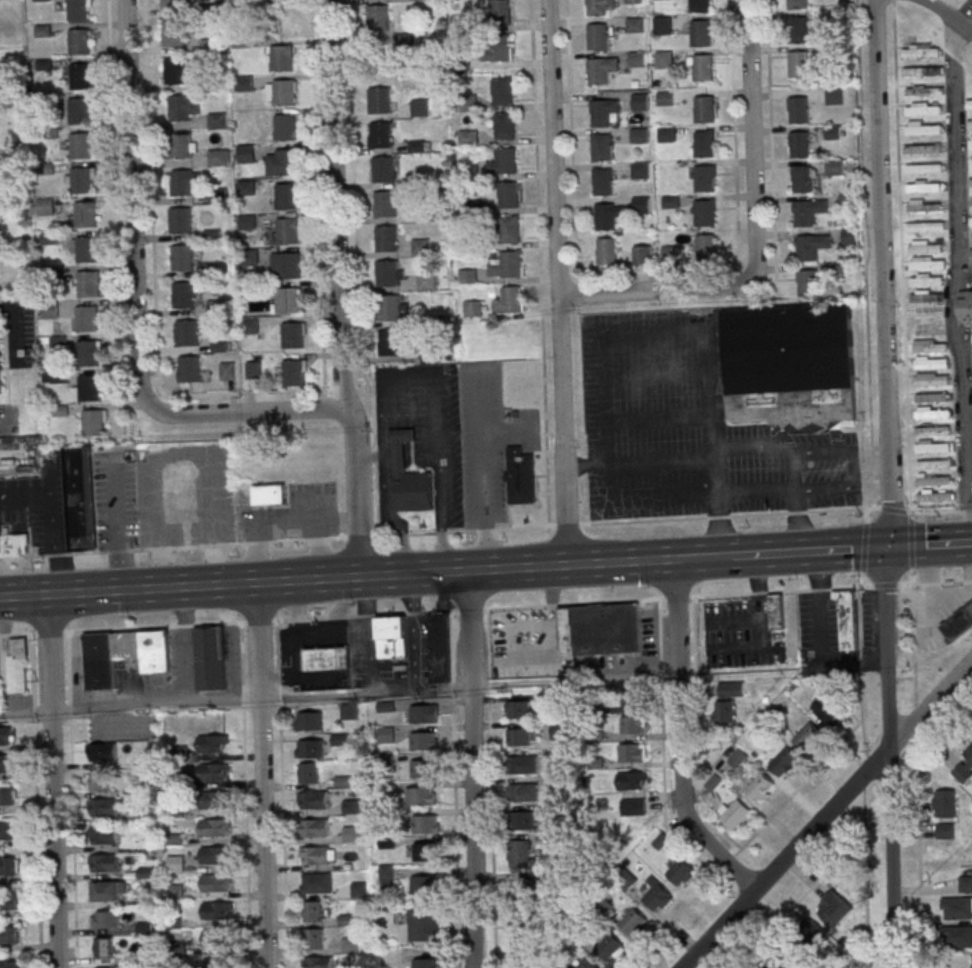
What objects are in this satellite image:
building: (277, 0)
building: (633, 1)
building: (171, 4)
building: (796, 4)
building: (699, 5)
building: (599, 6)
road: (937, 7)
building: (77, 9)
building: (497, 12)
building: (377, 17)
building: (458, 22)
road: (961, 23)
building: (634, 24)
building: (661, 25)
building: (796, 30)
building: (173, 33)
building: (700, 33)
building: (597, 36)
building: (405, 40)
building: (78, 41)
building: (207, 46)
building: (499, 48)
building: (920, 50)
building: (280, 58)
building: (635, 59)
building: (663, 59)
building: (797, 64)
building: (702, 67)
building: (599, 69)
building: (922, 69)
building: (174, 71)
building: (79, 76)
building: (243, 83)
building: (923, 90)
building: (500, 91)
building: (284, 92)
building: (834, 96)
building: (663, 98)
building: (379, 99)
building: (639, 101)
building: (969, 104)
building: (419, 107)
building: (178, 108)
building: (923, 108)
building: (704, 109)
building: (798, 110)
building: (78, 111)
building: (602, 111)
building: (969, 122)
building: (502, 126)
building: (284, 127)
building: (923, 128)
building: (832, 132)
road: (734, 133)
building: (380, 134)
building: (664, 134)
building: (637, 135)
road: (770, 139)
road: (750, 140)
building: (970, 142)
building: (702, 144)
building: (800, 144)
building: (79, 146)
building: (180, 146)
building: (600, 147)
building: (922, 149)
building: (245, 153)
road: (570, 156)
building: (218, 157)
building: (504, 160)
building: (285, 161)
building: (971, 161)
building: (834, 167)
building: (923, 168)
building: (382, 169)
building: (639, 170)
building: (704, 178)
building: (803, 179)
building: (970, 180)
building: (81, 181)
building: (602, 181)
building: (181, 182)
building: (923, 186)
building: (507, 194)
building: (286, 196)
building: (669, 201)
building: (847, 201)
building: (970, 201)
road: (130, 204)
building: (385, 204)
building: (640, 205)
building: (923, 205)
building: (44, 206)
building: (808, 211)
building: (704, 212)
building: (84, 215)
road: (114, 216)
building: (604, 216)
building: (971, 219)
building: (179, 220)
building: (247, 222)
building: (925, 226)
building: (508, 229)
building: (287, 231)
building: (848, 236)
building: (385, 238)
building: (971, 238)
building: (811, 246)
building: (925, 246)
building: (420, 247)
building: (705, 248)
building: (86, 249)
building: (607, 251)
building: (668, 254)
road: (864, 254)
building: (642, 255)
building: (182, 257)
building: (249, 257)
building: (971, 259)
road: (538, 262)
building: (926, 263)
building: (286, 264)
building: (509, 264)
building: (386, 273)
building: (467, 276)
road: (960, 278)
building: (926, 280)
building: (426, 281)
road: (555, 282)
building: (807, 282)
building: (87, 284)
road: (336, 289)
road: (653, 290)
building: (183, 294)
building: (926, 296)
building: (510, 299)
building: (288, 300)
road: (153, 302)
building: (215, 307)
building: (389, 307)
building: (965, 307)
building: (472, 308)
building: (86, 318)
building: (250, 326)
road: (15, 330)
road: (650, 332)
building: (187, 333)
building: (292, 335)
building: (388, 342)
building: (930, 345)
building: (87, 353)
building: (931, 362)
building: (789, 363)
building: (188, 369)
building: (253, 369)
building: (226, 370)
building: (294, 372)
road: (653, 375)
road: (403, 381)
building: (0, 382)
building: (931, 387)
building: (86, 388)
road: (245, 411)
building: (932, 413)
road: (656, 419)
building: (93, 422)
parking lot: (689, 427)
road: (2, 429)
road: (508, 430)
building: (932, 430)
building: (932, 446)
road: (749, 449)
road: (368, 457)
building: (932, 463)
road: (655, 464)
road: (485, 468)
road: (851, 471)
road: (794, 473)
building: (518, 475)
building: (409, 477)
building: (933, 479)
road: (890, 484)
road: (726, 493)
building: (269, 494)
building: (934, 495)
parking lot: (112, 496)
building: (78, 497)
road: (645, 500)
road: (892, 510)
road: (965, 511)
road: (931, 513)
road: (909, 514)
road: (864, 516)
road: (800, 521)
road: (117, 523)
road: (439, 532)
road: (910, 541)
building: (13, 544)
road: (929, 545)
road: (863, 548)
traffic signals: (886, 548)
road: (810, 552)
road: (714, 557)
road: (970, 563)
road: (346, 577)
road: (966, 581)
road: (950, 582)
road: (928, 583)
road: (904, 584)
road: (915, 584)
road: (884, 585)
road: (929, 596)
road: (949, 597)
road: (293, 608)
parking lot: (946, 608)
road: (336, 612)
building: (774, 612)
building: (846, 618)
road: (731, 620)
road: (284, 621)
building: (958, 622)
road: (520, 625)
road: (759, 627)
building: (599, 628)
road: (468, 629)
road: (413, 632)
road: (818, 634)
road: (15, 635)
road: (367, 635)
road: (913, 635)
road: (293, 637)
building: (390, 637)
road: (551, 639)
road: (184, 646)
building: (438, 647)
building: (123, 654)
building: (209, 658)
building: (326, 658)
road: (331, 658)
building: (17, 665)
road: (859, 665)
road: (297, 675)
road: (574, 681)
building: (731, 689)
road: (261, 699)
building: (623, 705)
building: (383, 706)
building: (517, 709)
building: (827, 710)
building: (348, 711)
building: (724, 711)
road: (916, 711)
building: (422, 713)
road: (25, 714)
building: (307, 720)
building: (632, 725)
building: (5, 736)
building: (807, 736)
building: (517, 737)
road: (678, 738)
building: (422, 741)
building: (212, 745)
building: (309, 748)
building: (100, 753)
building: (631, 753)
road: (934, 755)
building: (6, 763)
building: (784, 763)
building: (521, 764)
building: (963, 767)
building: (421, 769)
road: (863, 772)
building: (213, 773)
building: (307, 773)
road: (261, 775)
building: (631, 780)
road: (52, 781)
building: (97, 781)
building: (759, 788)
building: (523, 792)
road: (282, 794)
road: (245, 795)
building: (420, 796)
building: (7, 797)
road: (71, 800)
building: (313, 800)
building: (213, 801)
road: (890, 803)
building: (944, 803)
building: (351, 806)
building: (103, 807)
building: (632, 808)
building: (173, 809)
building: (733, 813)
road: (825, 813)
building: (521, 820)
building: (425, 824)
building: (314, 827)
road: (472, 827)
building: (215, 828)
building: (943, 830)
building: (6, 831)
building: (351, 833)
building: (103, 835)
road: (745, 844)
building: (424, 851)
building: (519, 854)
building: (316, 855)
building: (215, 856)
building: (103, 863)
building: (175, 863)
building: (8, 866)
road: (918, 871)
building: (680, 872)
road: (864, 877)
building: (316, 882)
building: (215, 883)
building: (422, 884)
building: (965, 884)
road: (809, 889)
building: (108, 890)
building: (521, 891)
building: (656, 895)
building: (9, 901)
building: (956, 908)
building: (833, 909)
building: (216, 910)
building: (312, 911)
building: (103, 919)
building: (632, 921)
building: (423, 924)
building: (523, 932)
building: (812, 932)
building: (8, 936)
building: (957, 936)
building: (217, 938)
building: (312, 939)
building: (610, 947)
building: (103, 948)
building: (218, 962)
building: (318, 962)
building: (780, 962)
building: (426, 963)
building: (585, 964)
building: (10, 965)
building: (108, 967)

